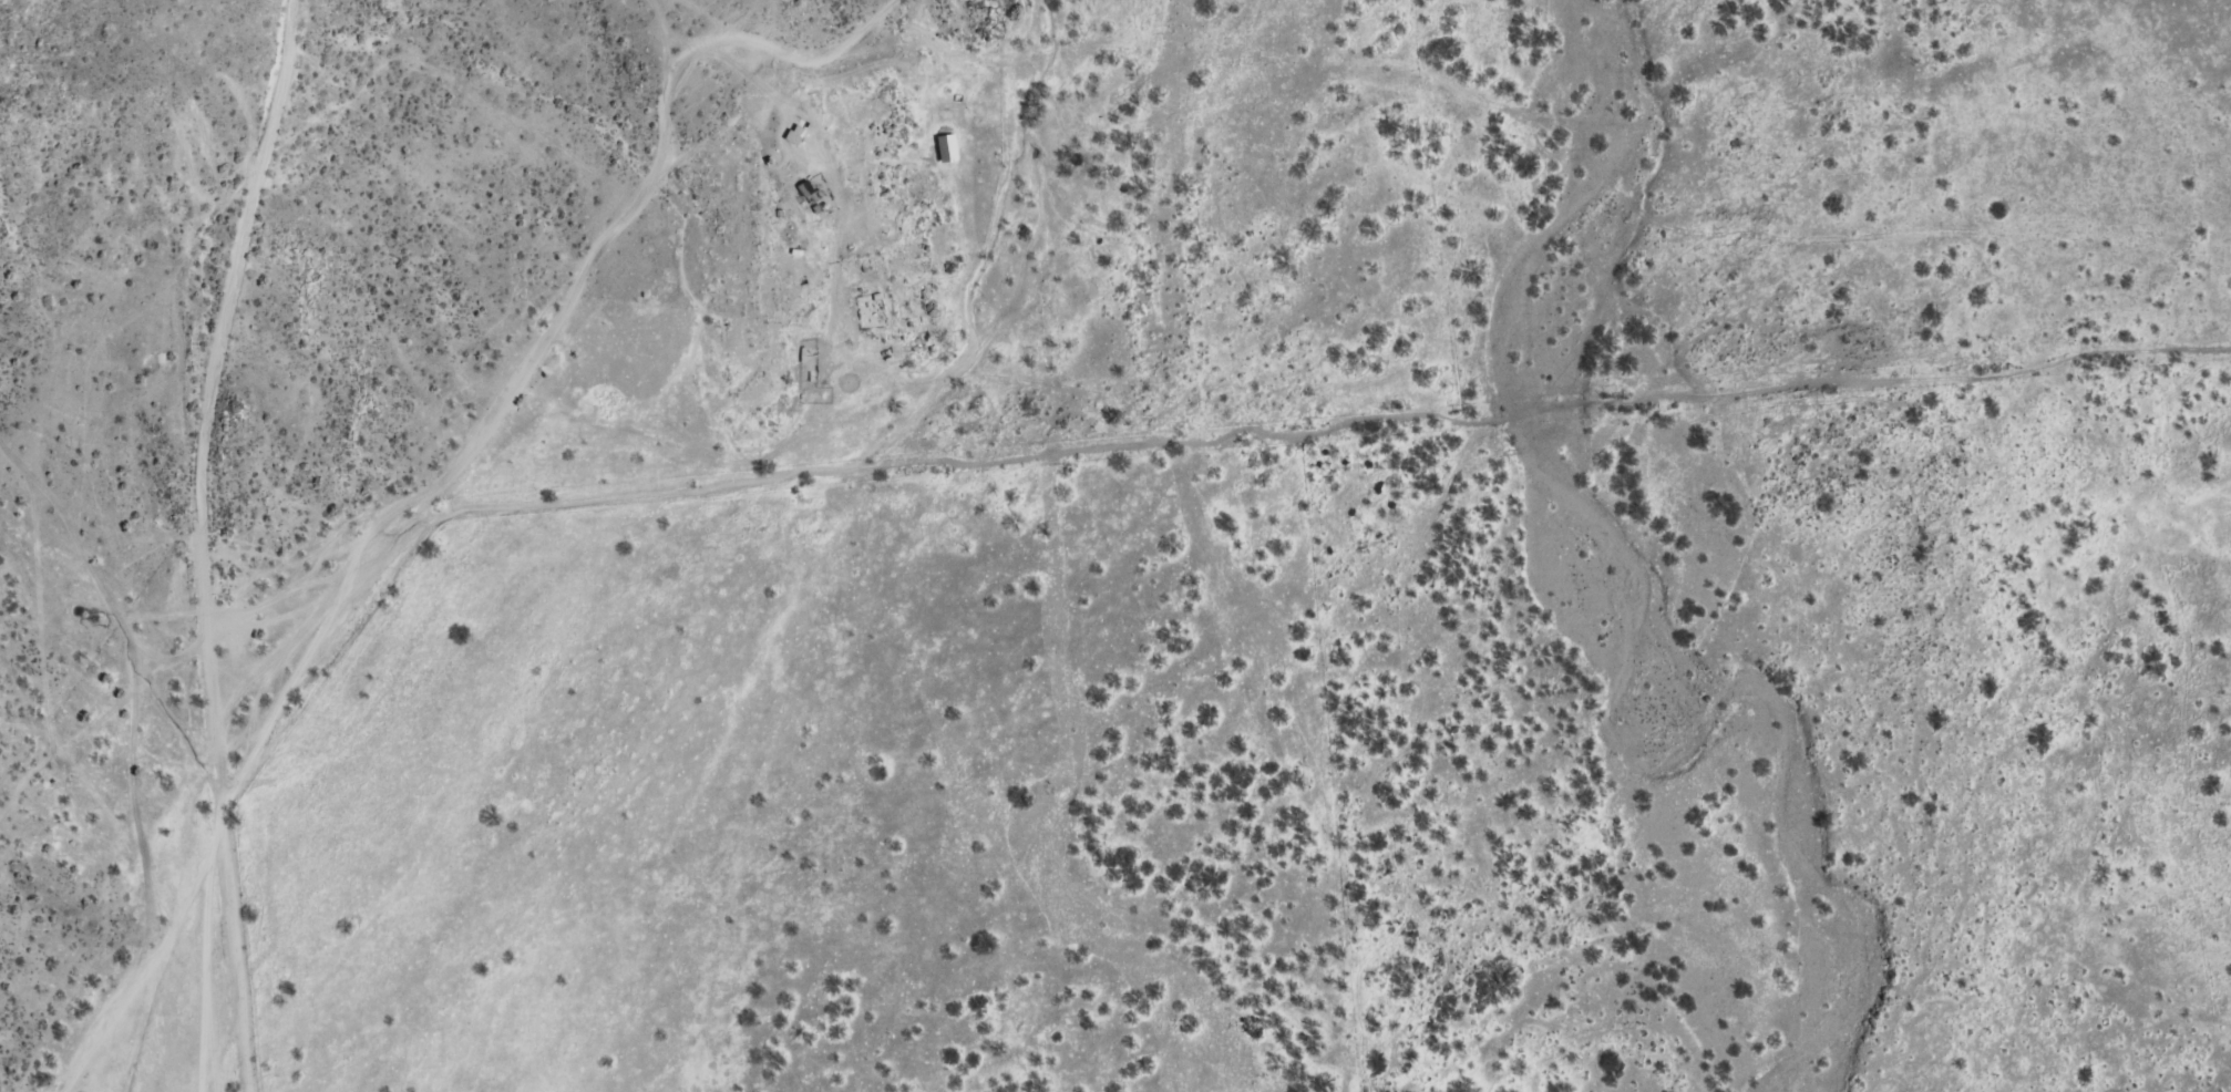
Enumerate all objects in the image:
road: (295, 667)

